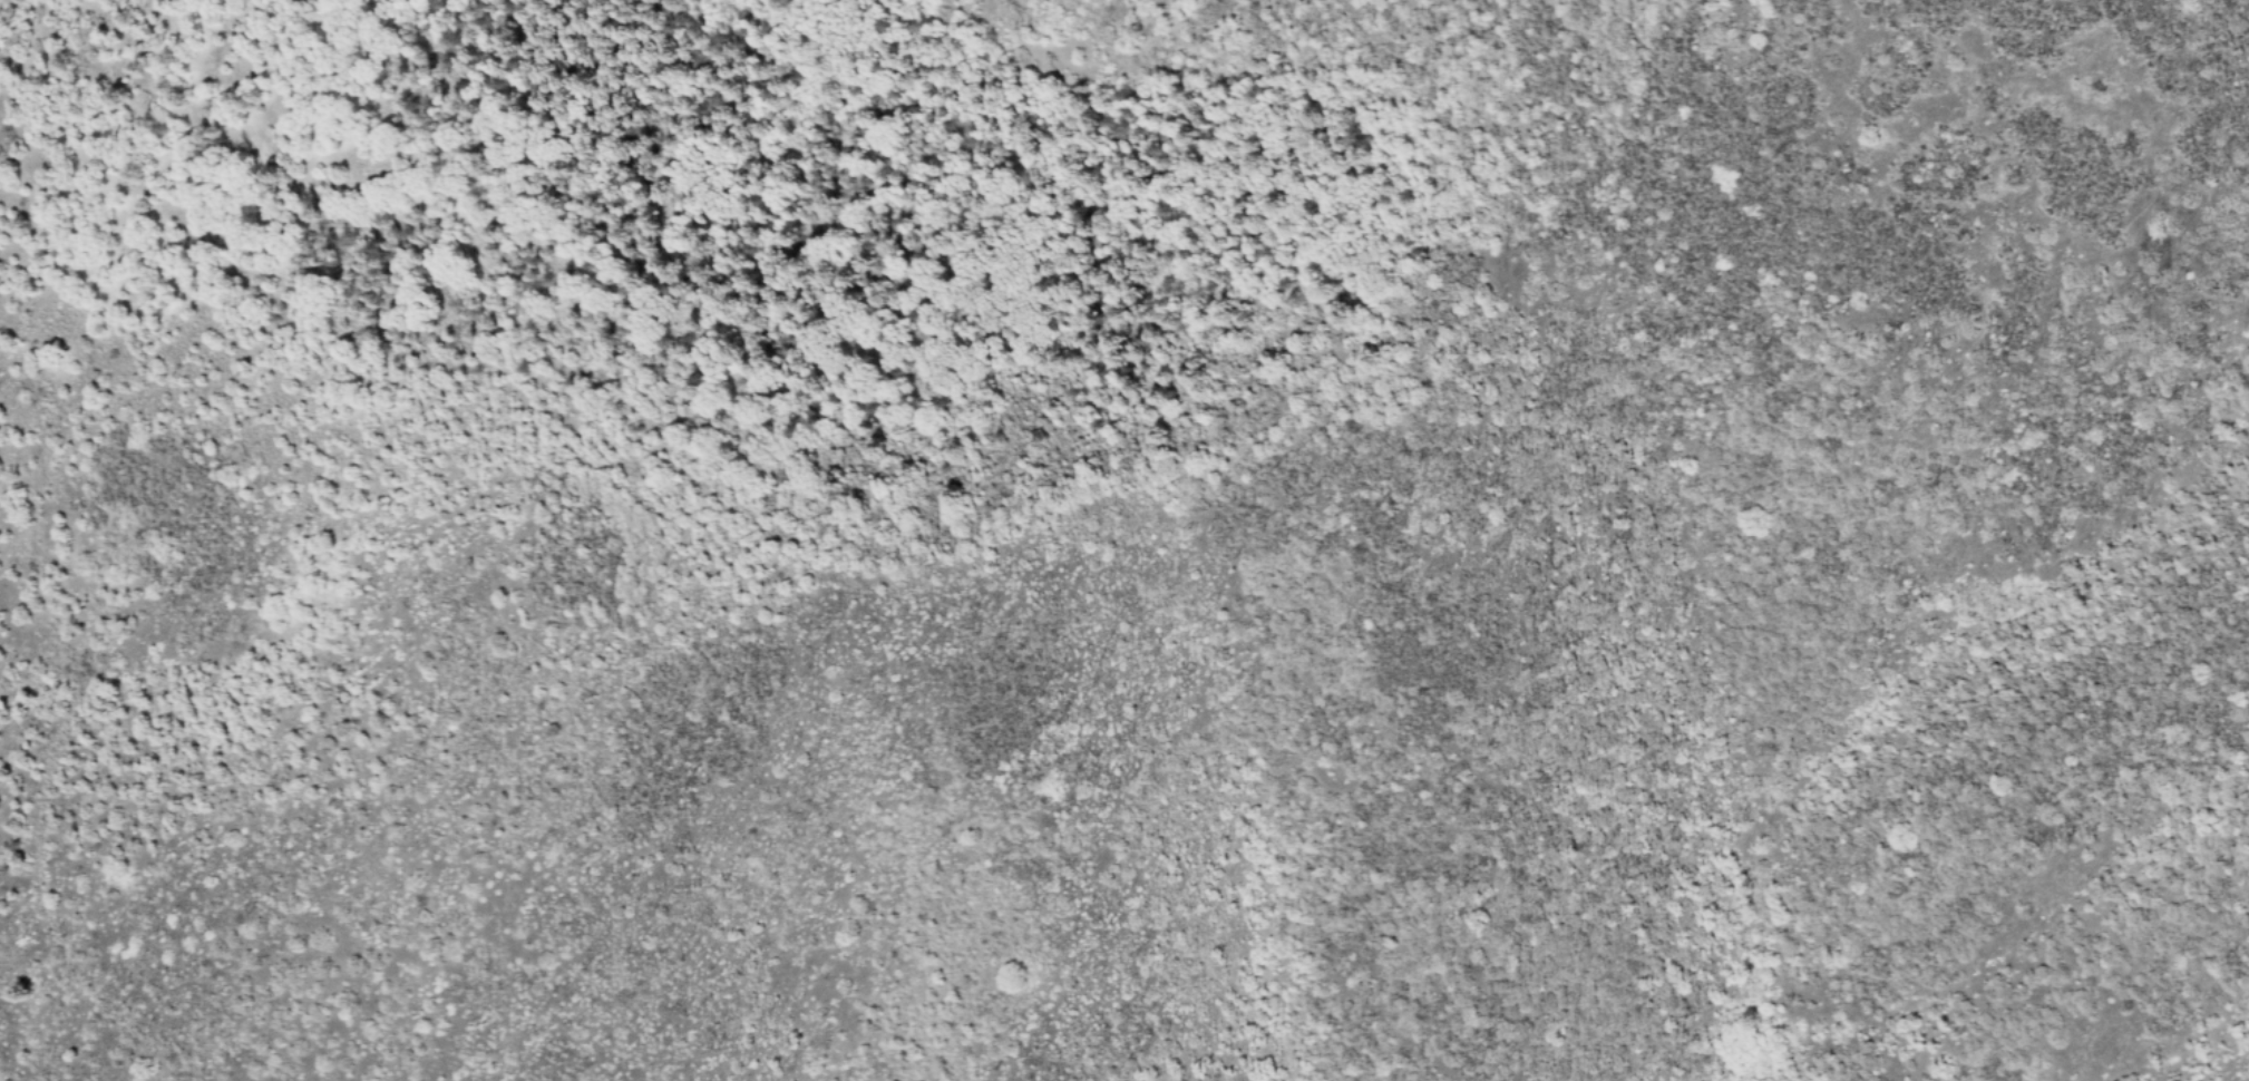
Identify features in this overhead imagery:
road: (513, 0)
road: (33, 520)

